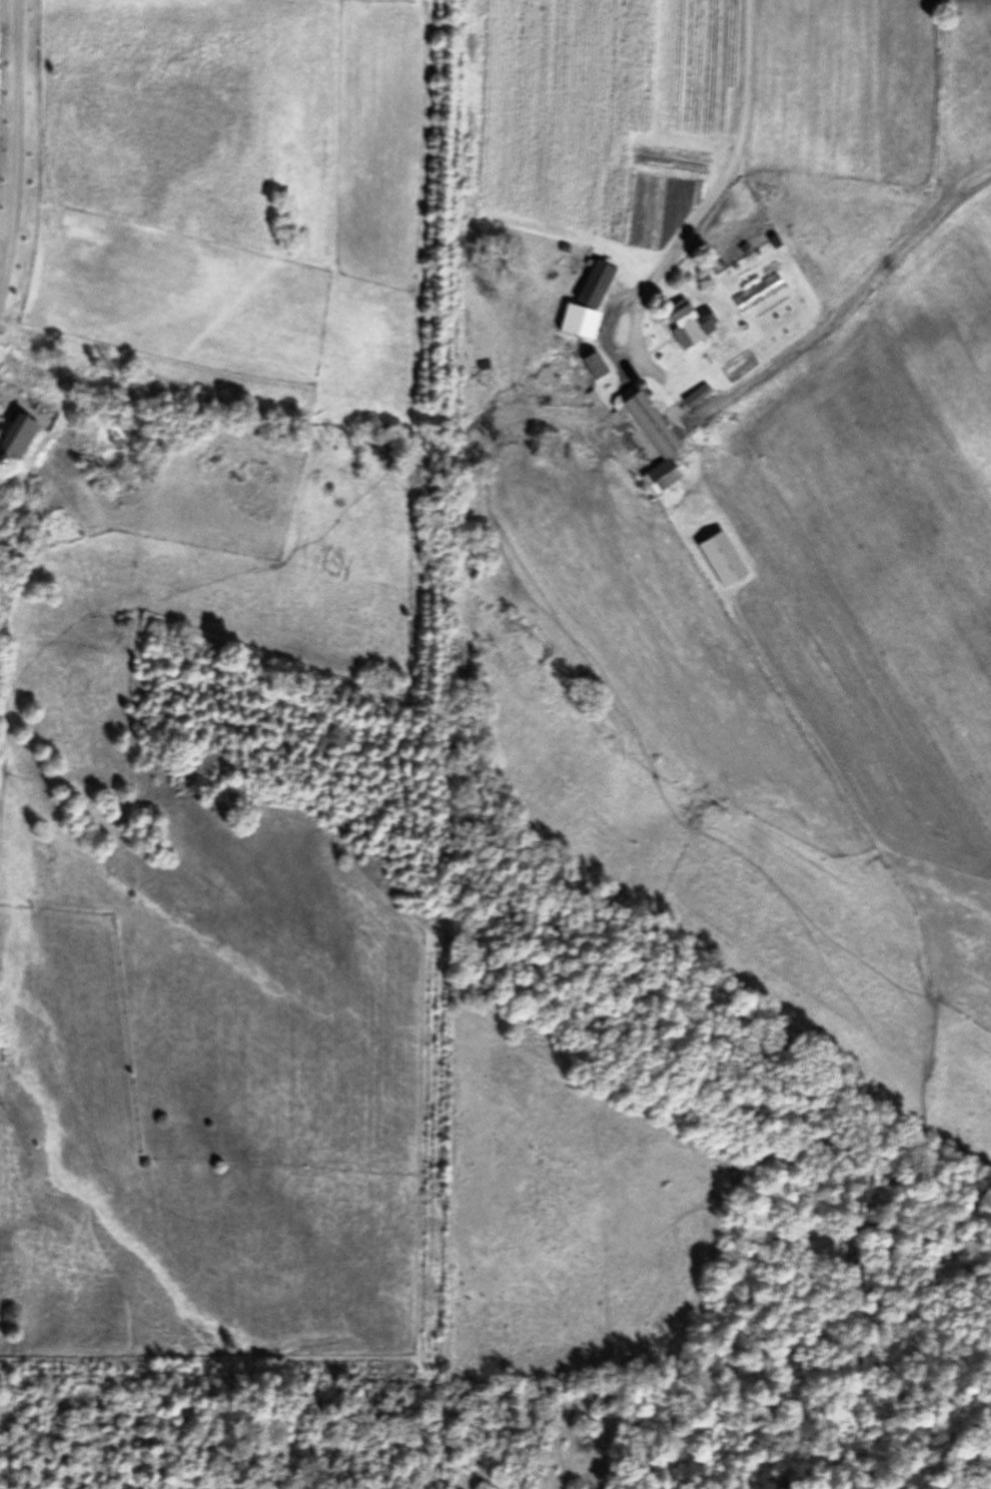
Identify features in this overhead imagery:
road: (19, 152)
road: (719, 190)
building: (592, 284)
building: (615, 324)
building: (688, 324)
building: (592, 363)
building: (651, 436)
building: (14, 438)

